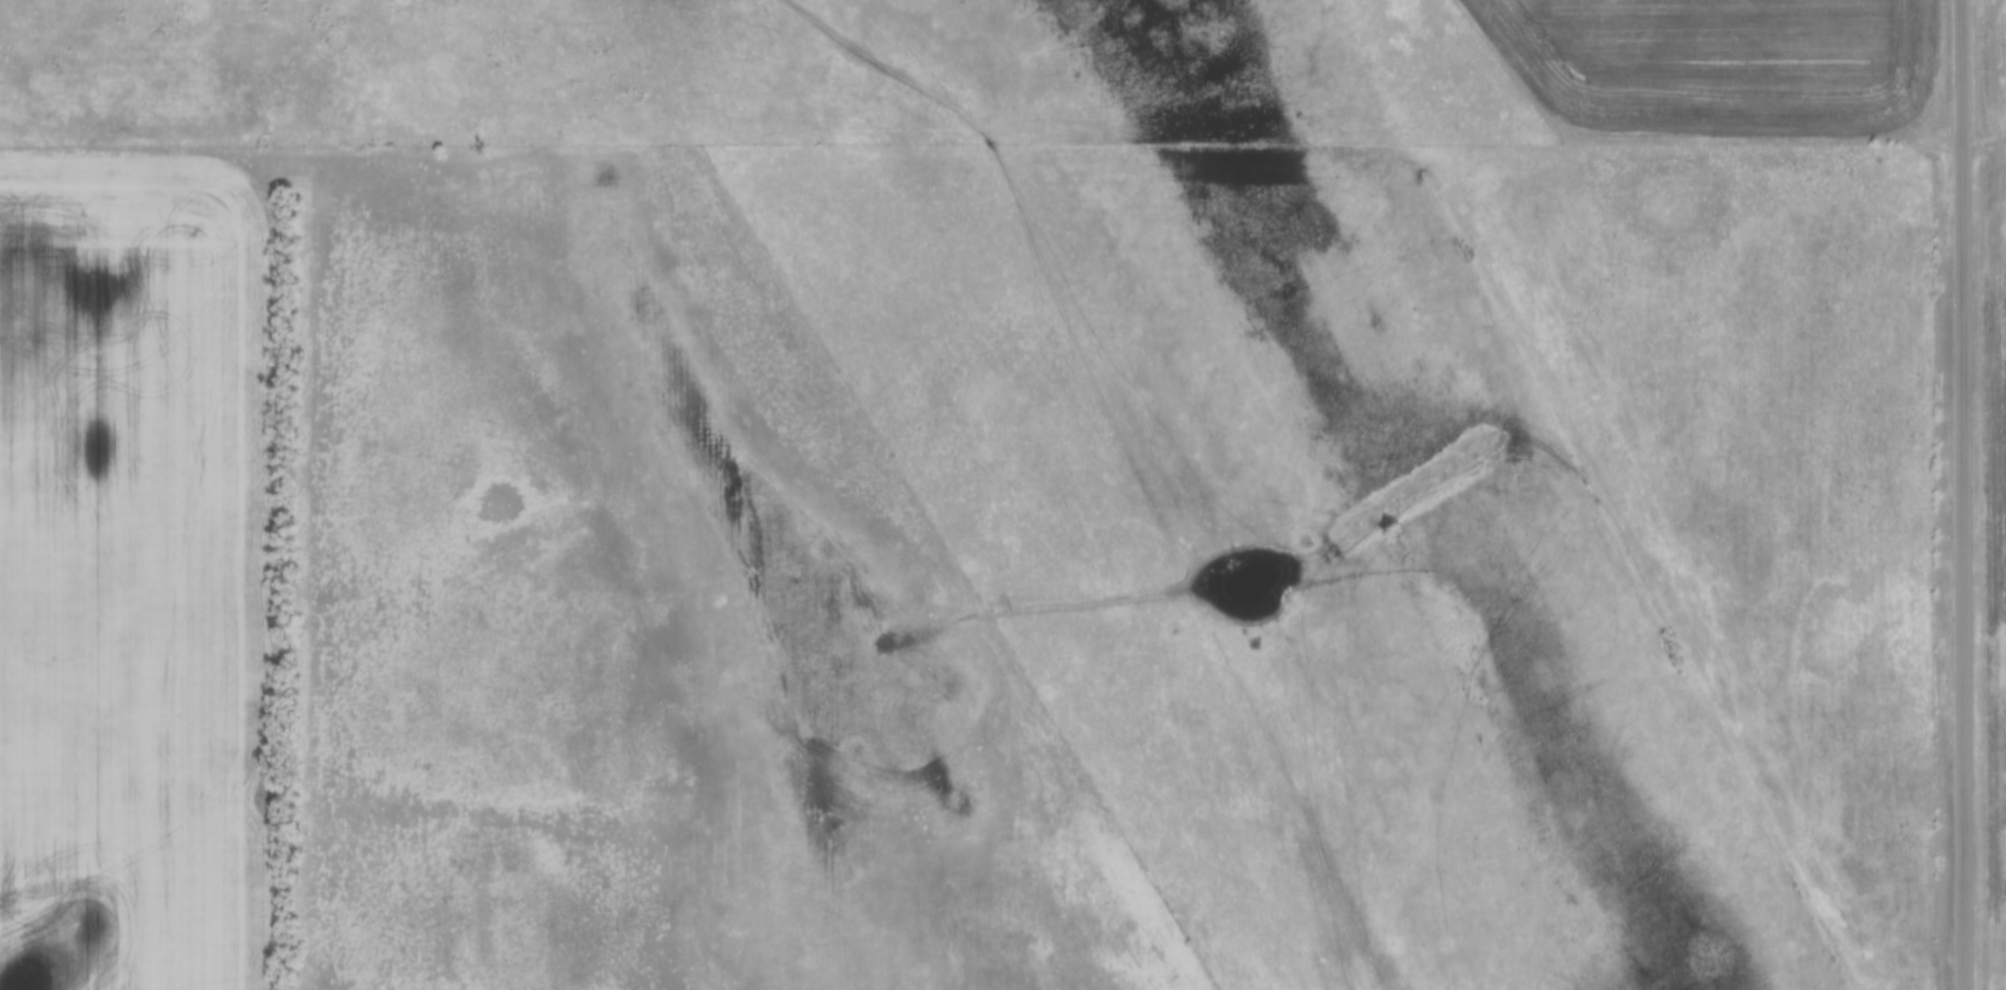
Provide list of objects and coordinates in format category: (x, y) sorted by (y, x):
road: (1964, 494)

